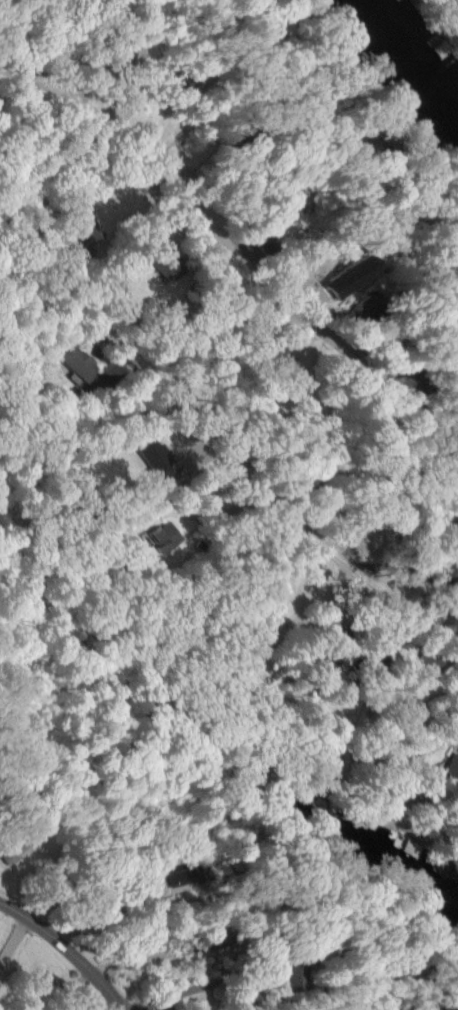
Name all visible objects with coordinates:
road: (40, 40)
building: (292, 198)
road: (236, 259)
building: (347, 277)
road: (99, 323)
road: (221, 326)
building: (77, 364)
building: (159, 459)
building: (166, 537)
road: (316, 545)
building: (432, 661)
building: (452, 767)
building: (14, 855)
road: (65, 950)
building: (290, 978)

